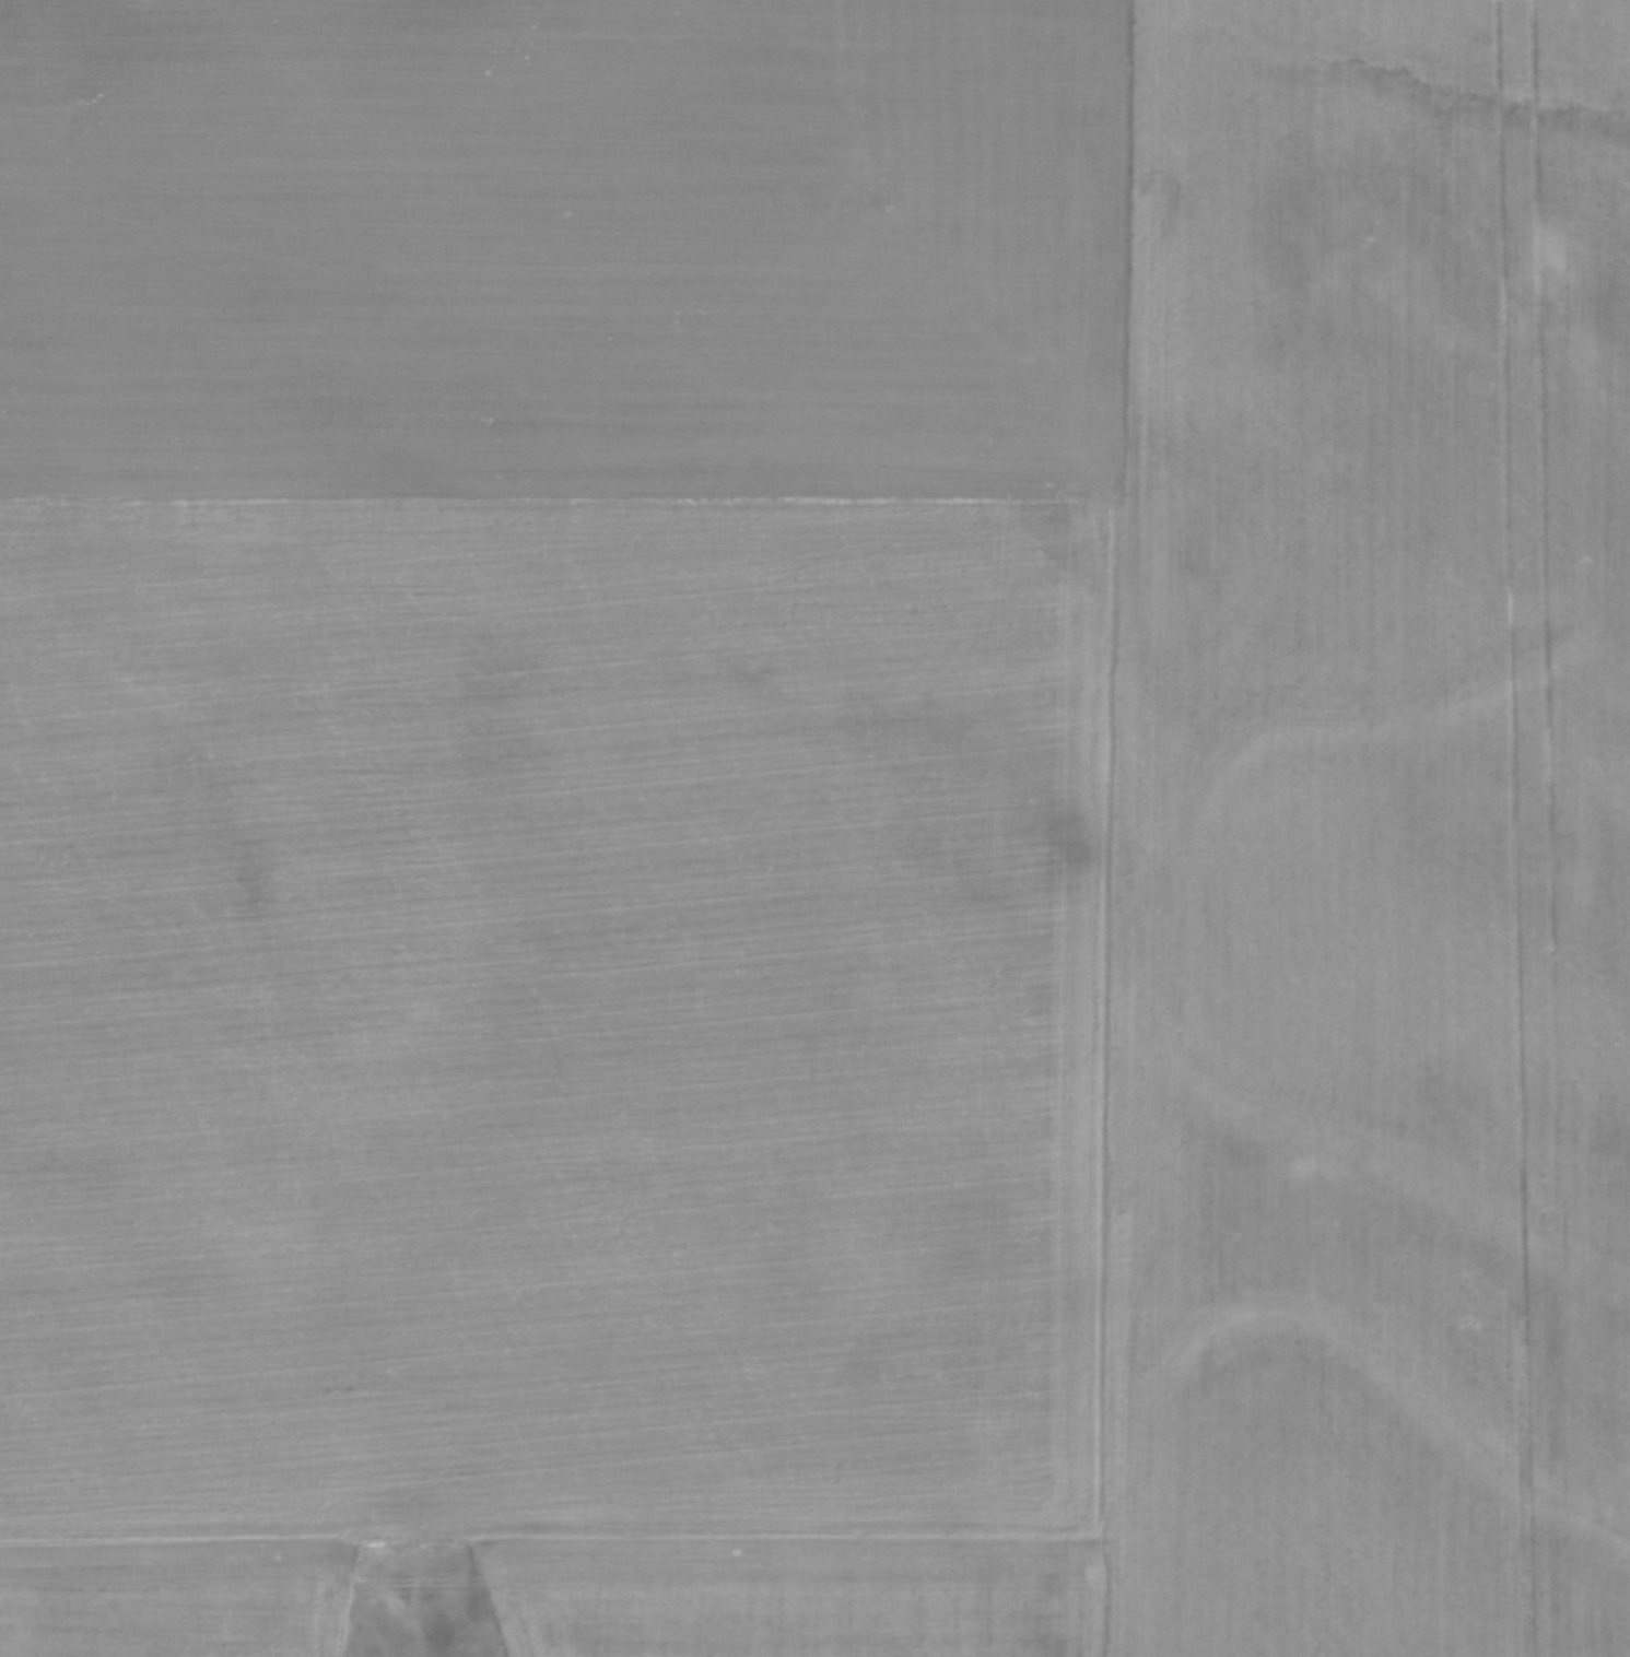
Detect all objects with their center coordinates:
crop: (817, 823)

